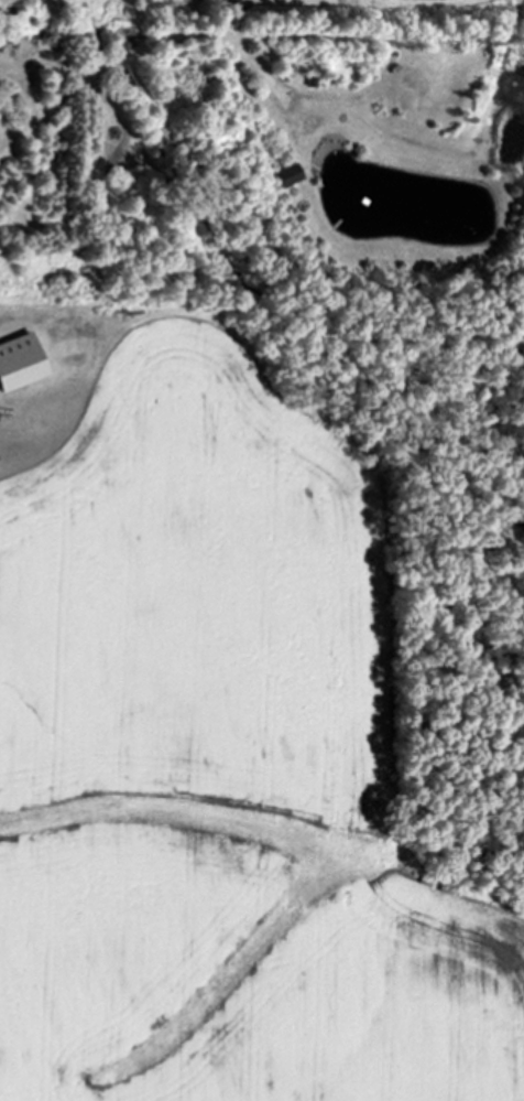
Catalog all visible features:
road: (135, 53)
road: (59, 69)
road: (28, 86)
building: (283, 177)
building: (17, 364)

